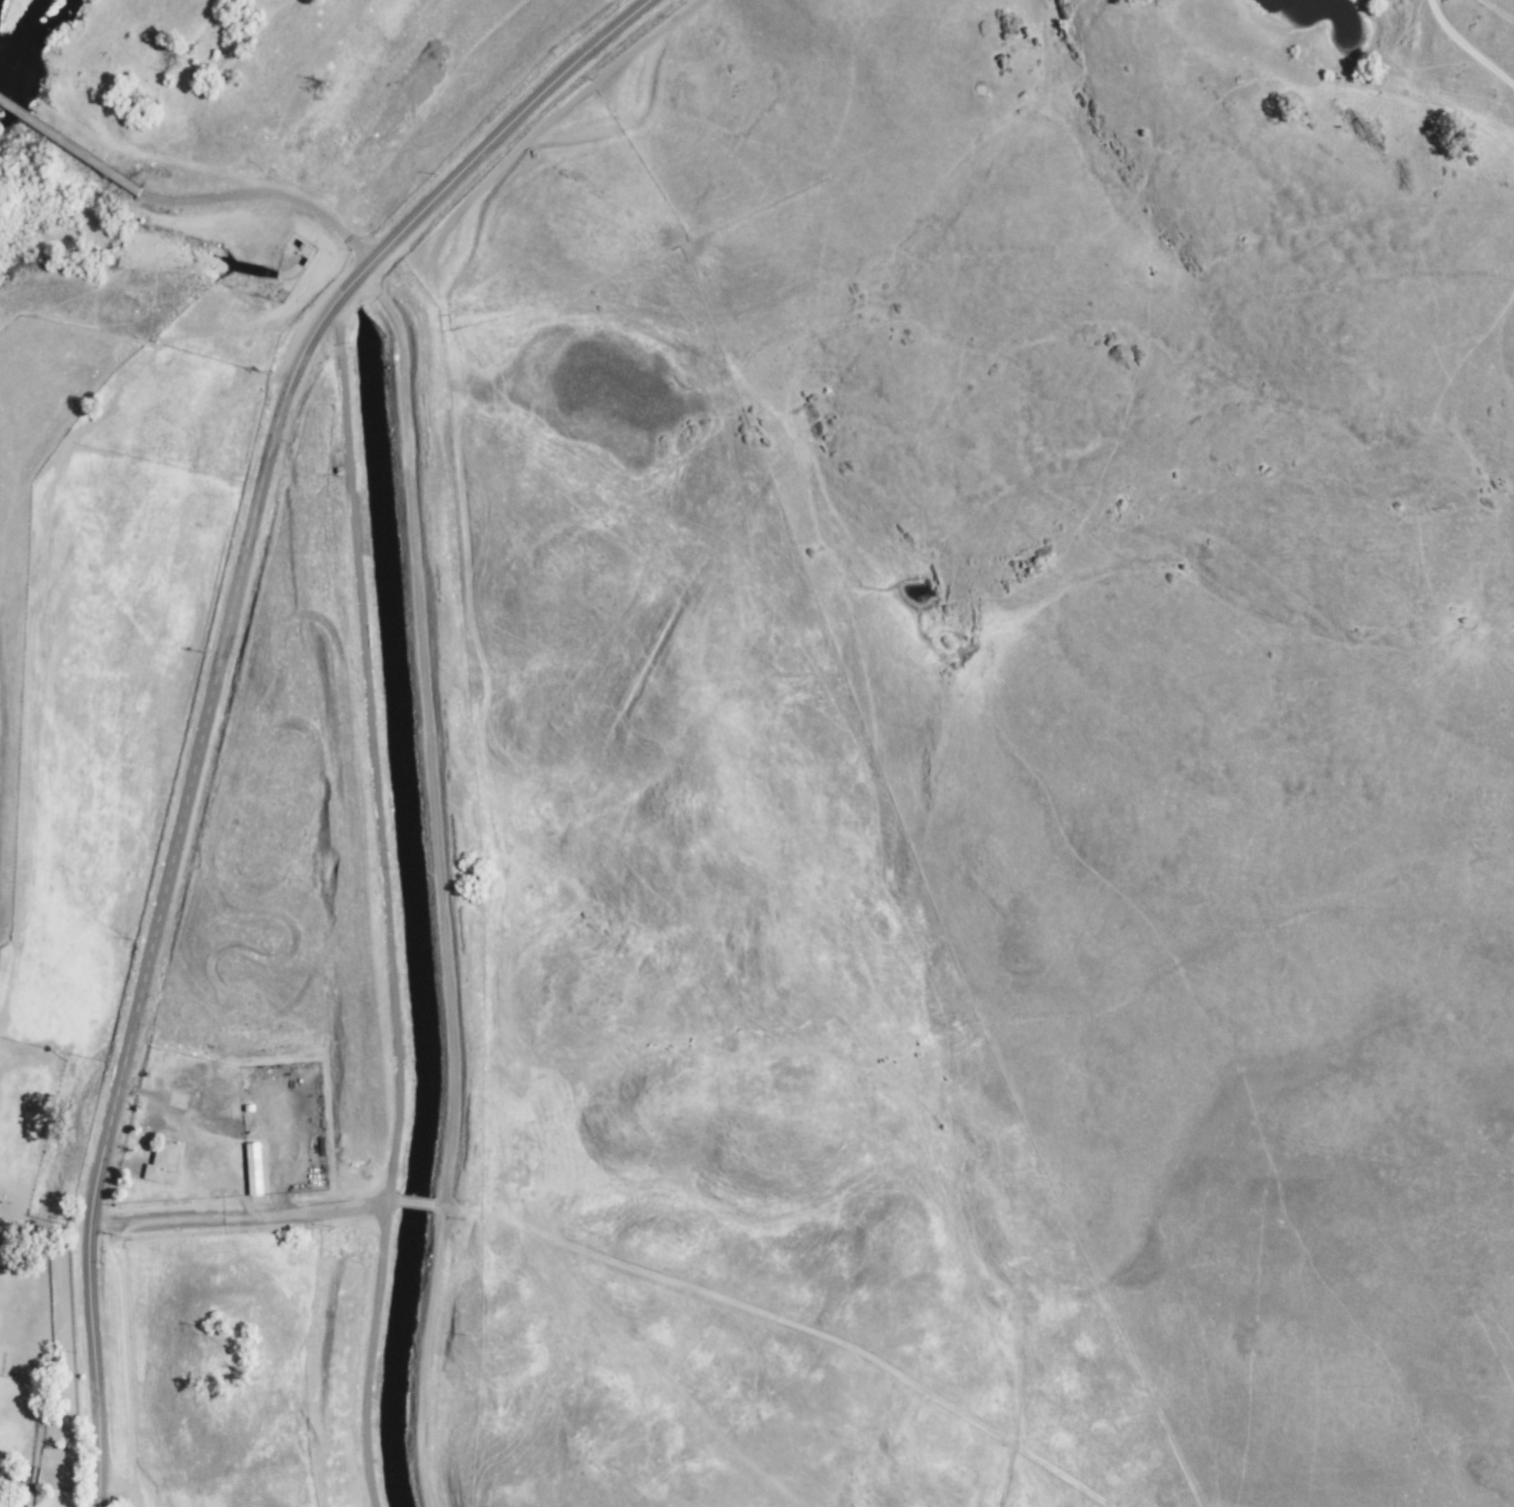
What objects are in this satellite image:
road: (1461, 36)
river: (20, 47)
road: (489, 141)
road: (475, 656)
road: (165, 889)
road: (307, 961)
building: (159, 1158)
building: (251, 1166)
road: (636, 1243)
road: (11, 1367)

